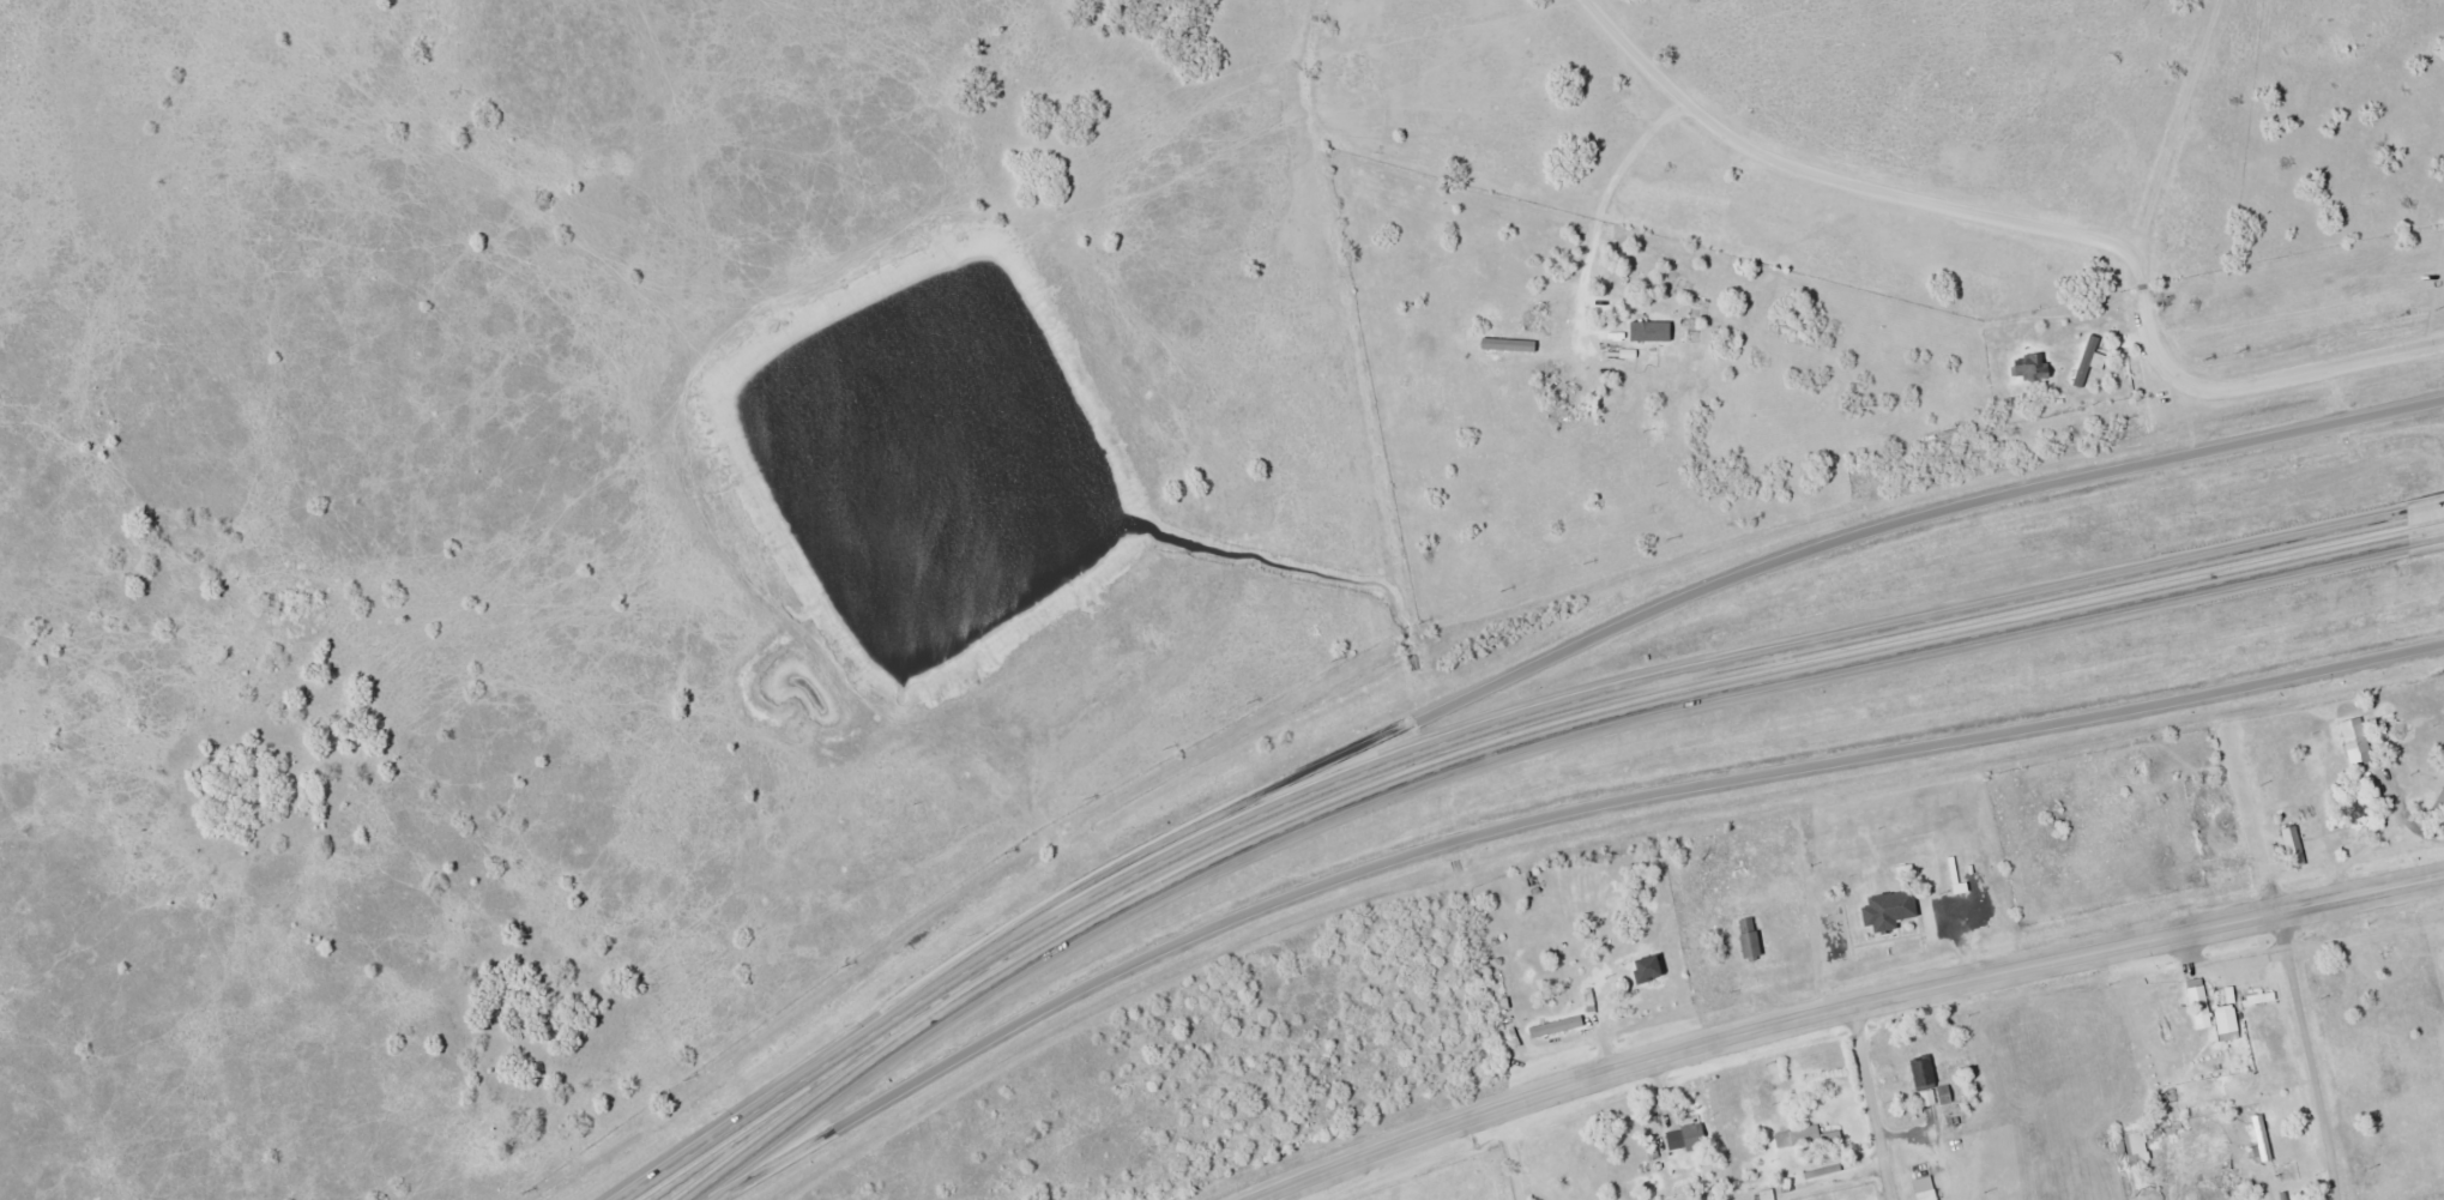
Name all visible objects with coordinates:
road: (2040, 221)
building: (2034, 366)
road: (2425, 513)
road: (2426, 538)
road: (1633, 620)
road: (1470, 738)
building: (2358, 743)
road: (1513, 761)
building: (2443, 798)
building: (2357, 807)
road: (1545, 821)
building: (2294, 846)
building: (1725, 863)
building: (1890, 909)
building: (1751, 937)
building: (1649, 967)
building: (1508, 987)
building: (2263, 997)
building: (2201, 1003)
road: (1835, 1005)
building: (2229, 1023)
building: (1557, 1026)
road: (2309, 1053)
building: (1924, 1072)
road: (1873, 1100)
building: (2263, 1138)
building: (1695, 1139)
building: (2132, 1142)
building: (1929, 1194)

